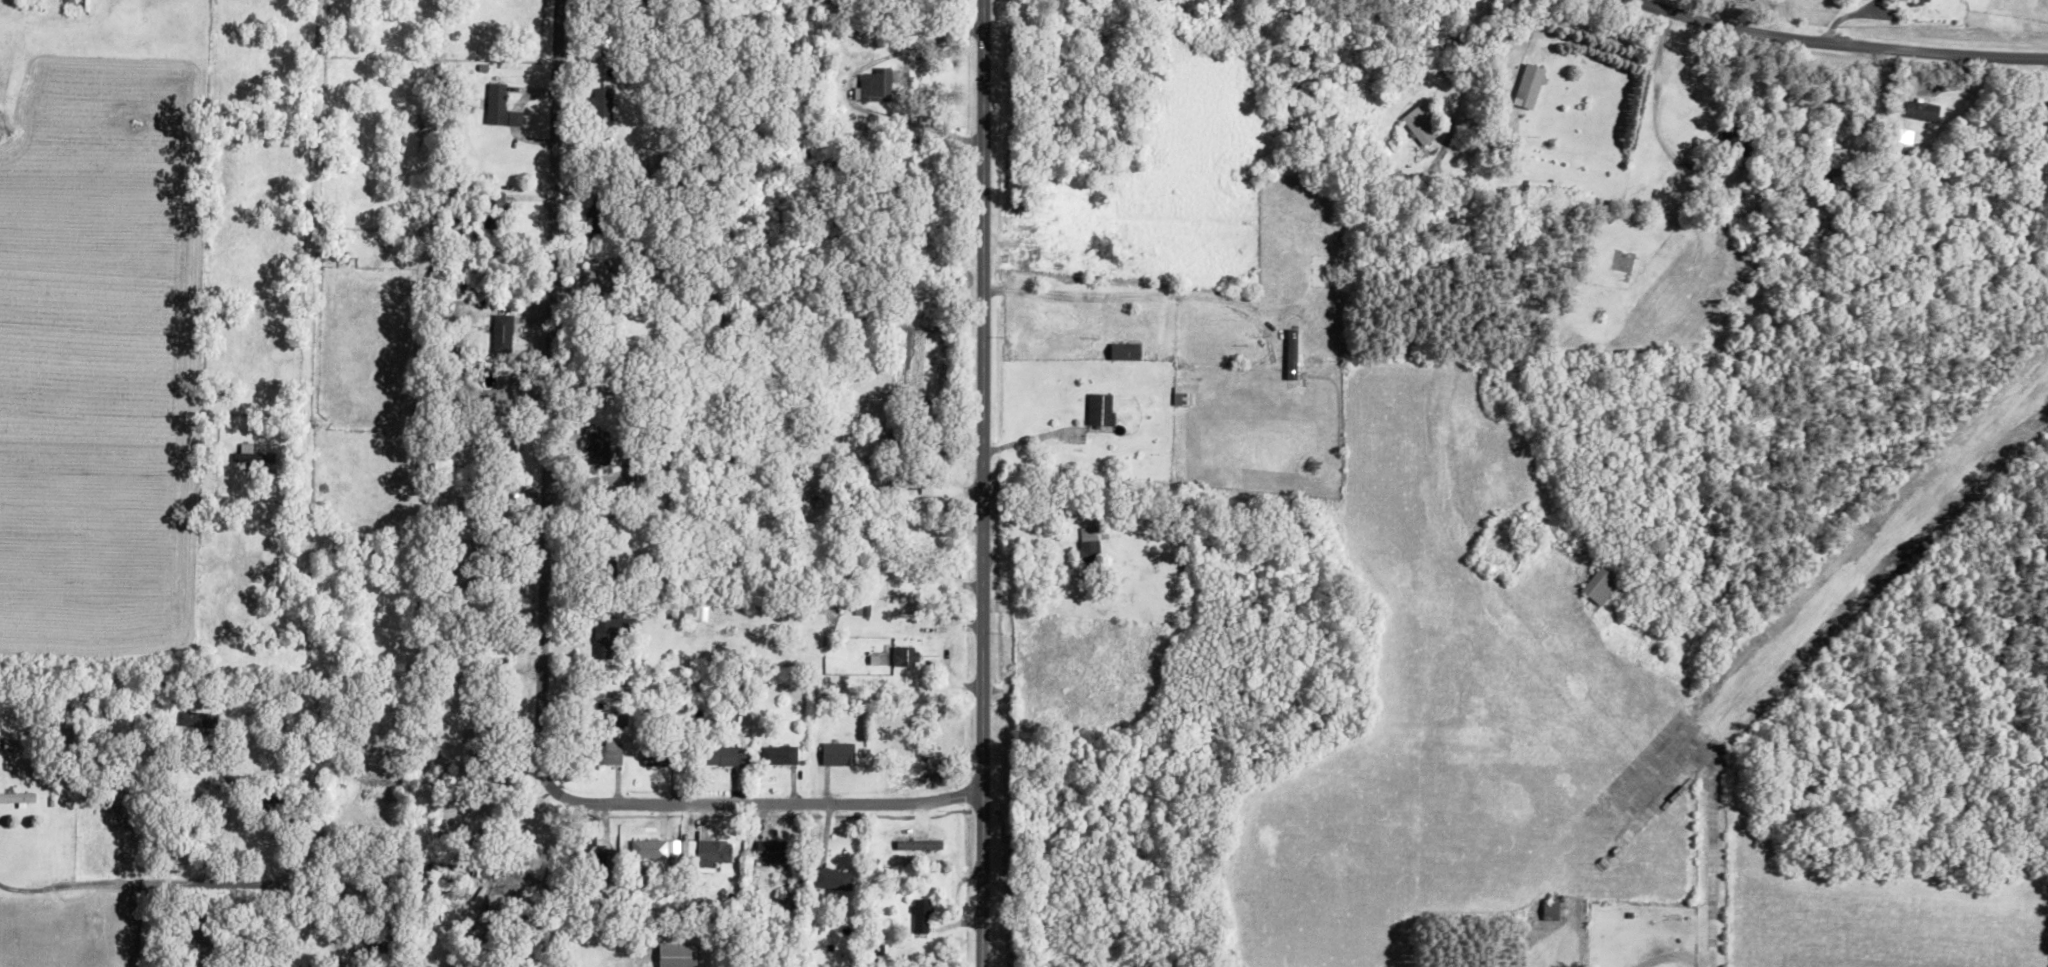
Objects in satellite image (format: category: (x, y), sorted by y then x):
building: (1920, 3)
road: (1848, 47)
road: (1604, 48)
building: (877, 85)
building: (1531, 86)
building: (608, 104)
building: (502, 108)
road: (1657, 110)
building: (1927, 111)
road: (918, 123)
building: (1422, 126)
building: (1840, 158)
building: (1546, 186)
building: (597, 278)
building: (504, 333)
building: (1128, 351)
building: (1184, 396)
building: (1102, 409)
building: (252, 455)
road: (981, 483)
building: (1089, 545)
building: (1601, 586)
building: (690, 614)
road: (555, 616)
building: (611, 633)
building: (906, 657)
building: (619, 714)
building: (202, 719)
building: (482, 741)
building: (12, 743)
building: (611, 753)
building: (839, 753)
building: (780, 754)
building: (661, 756)
building: (726, 756)
building: (19, 798)
building: (650, 848)
building: (709, 849)
building: (775, 850)
building: (834, 878)
road: (110, 881)
building: (922, 914)
building: (206, 932)
building: (680, 955)

